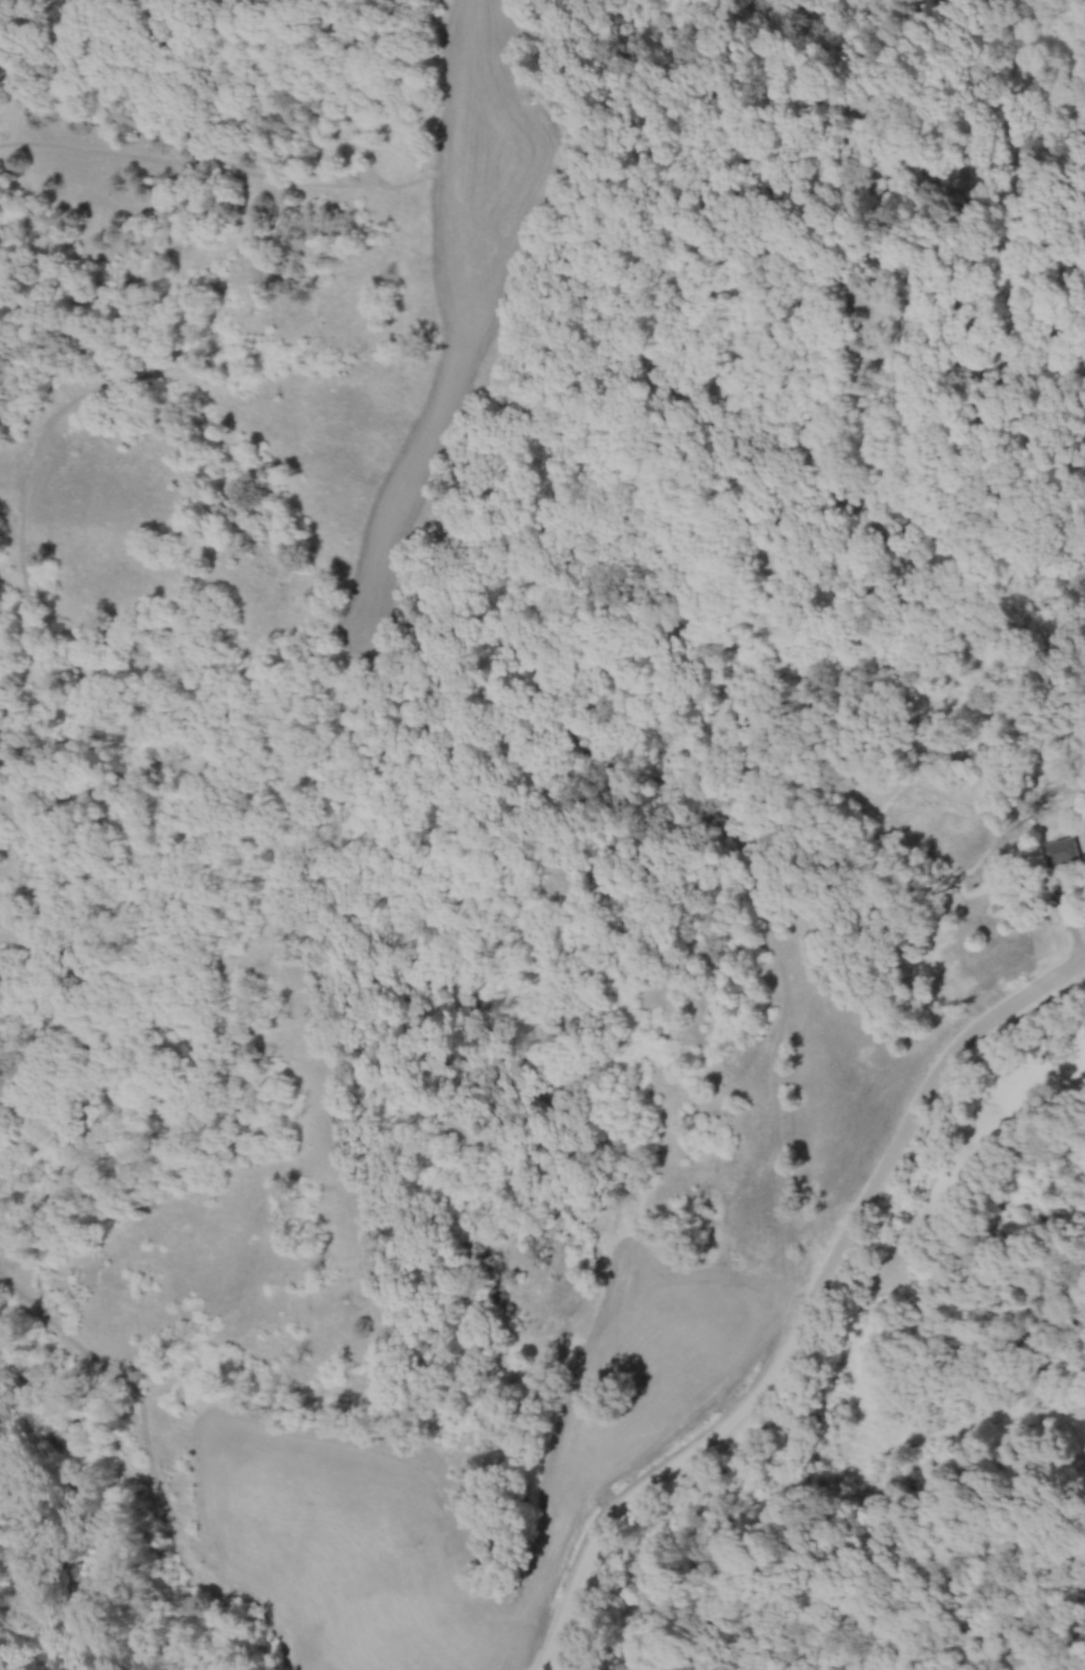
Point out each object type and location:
building: (1063, 848)
road: (807, 1311)

